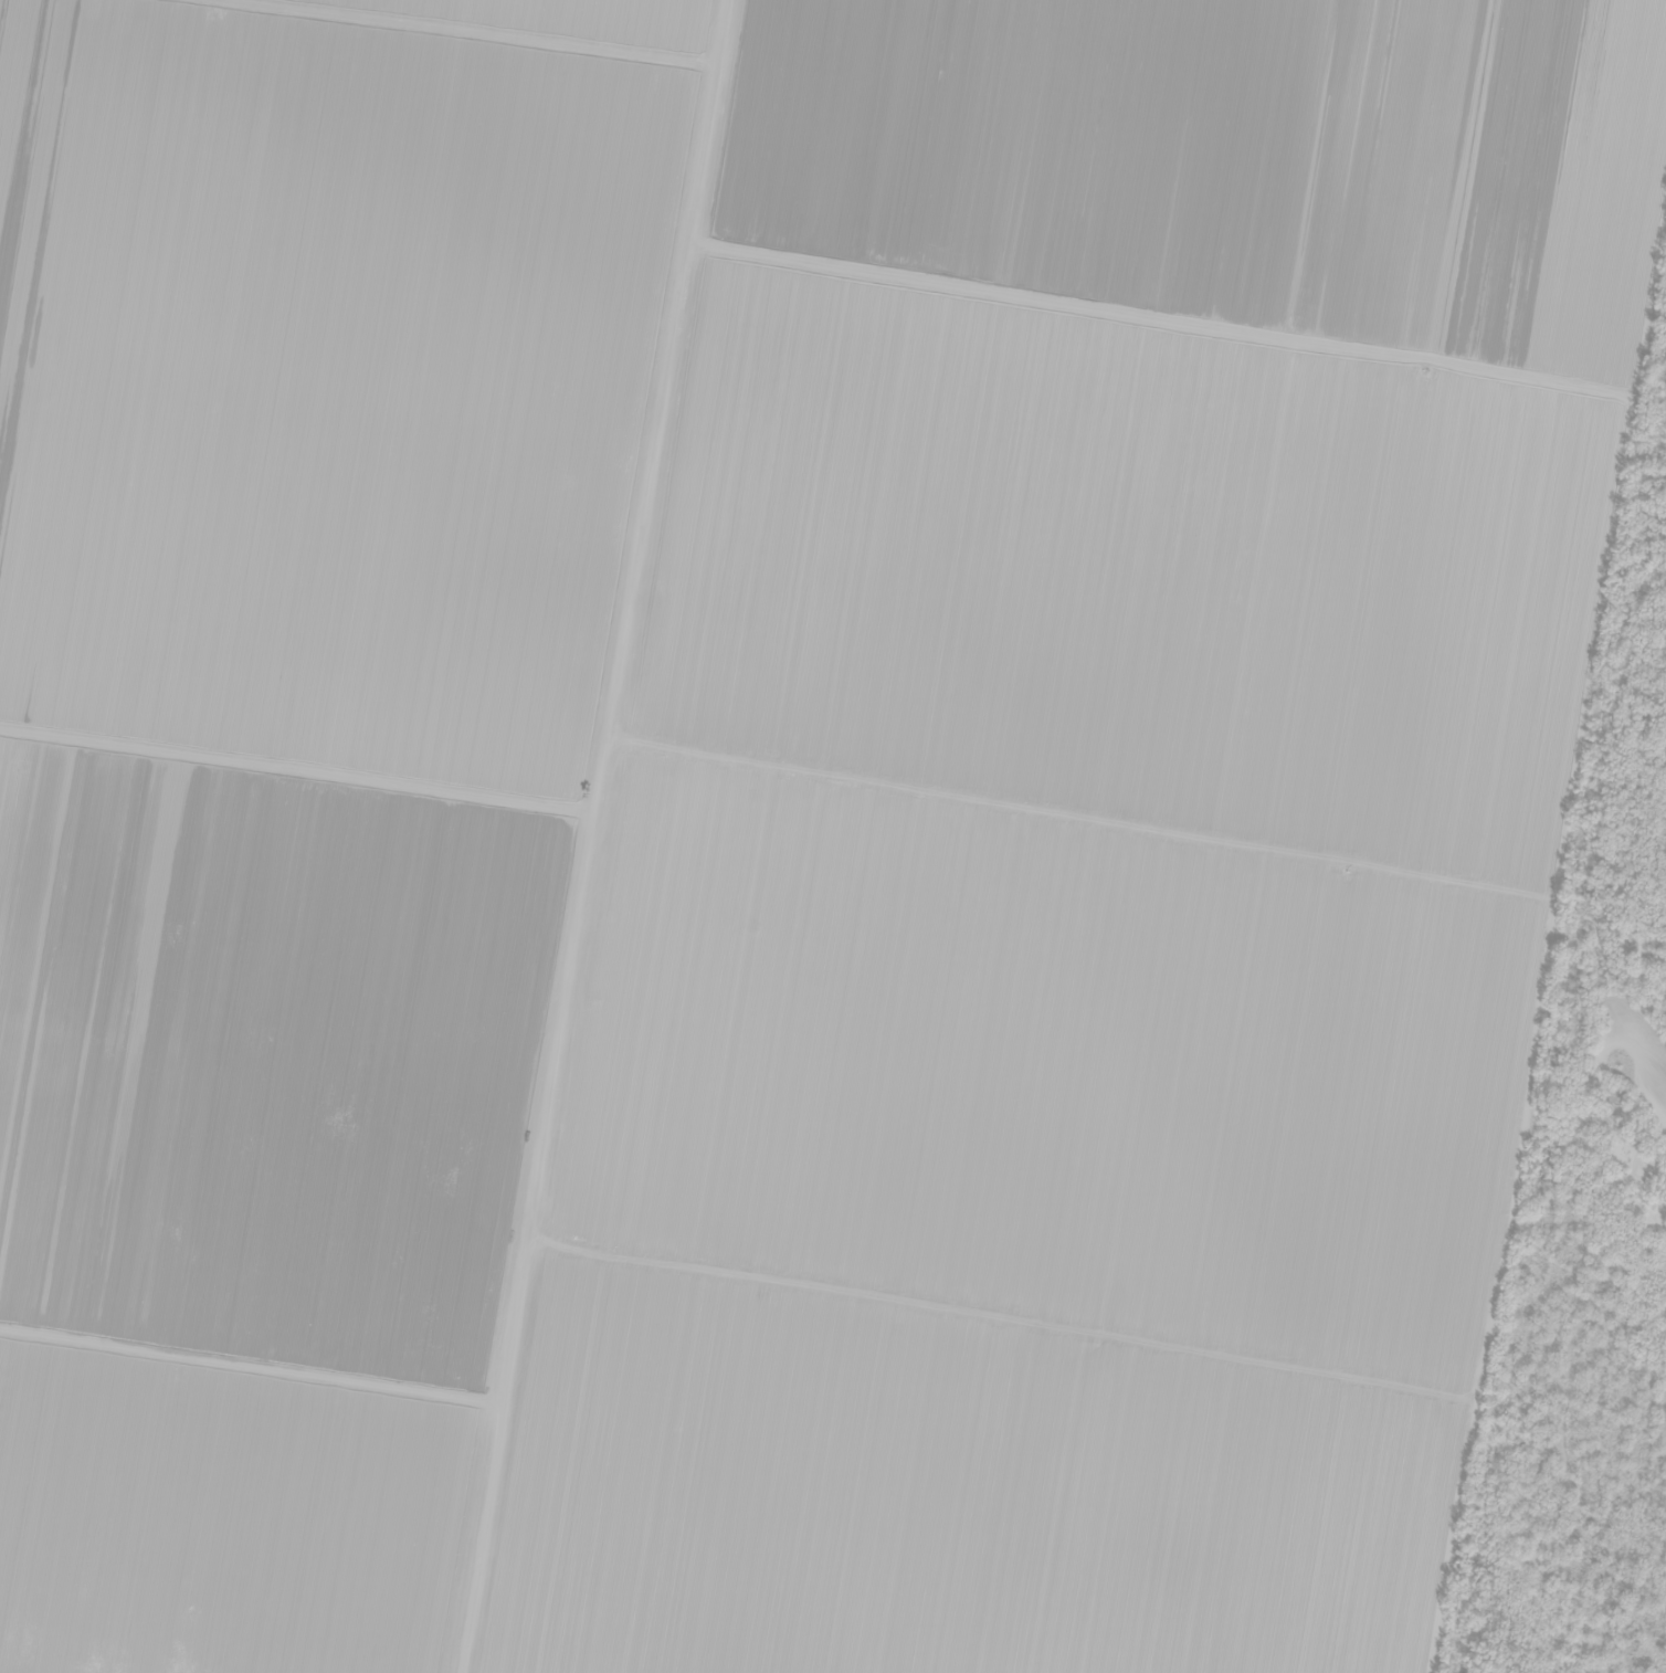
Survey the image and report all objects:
road: (628, 835)

